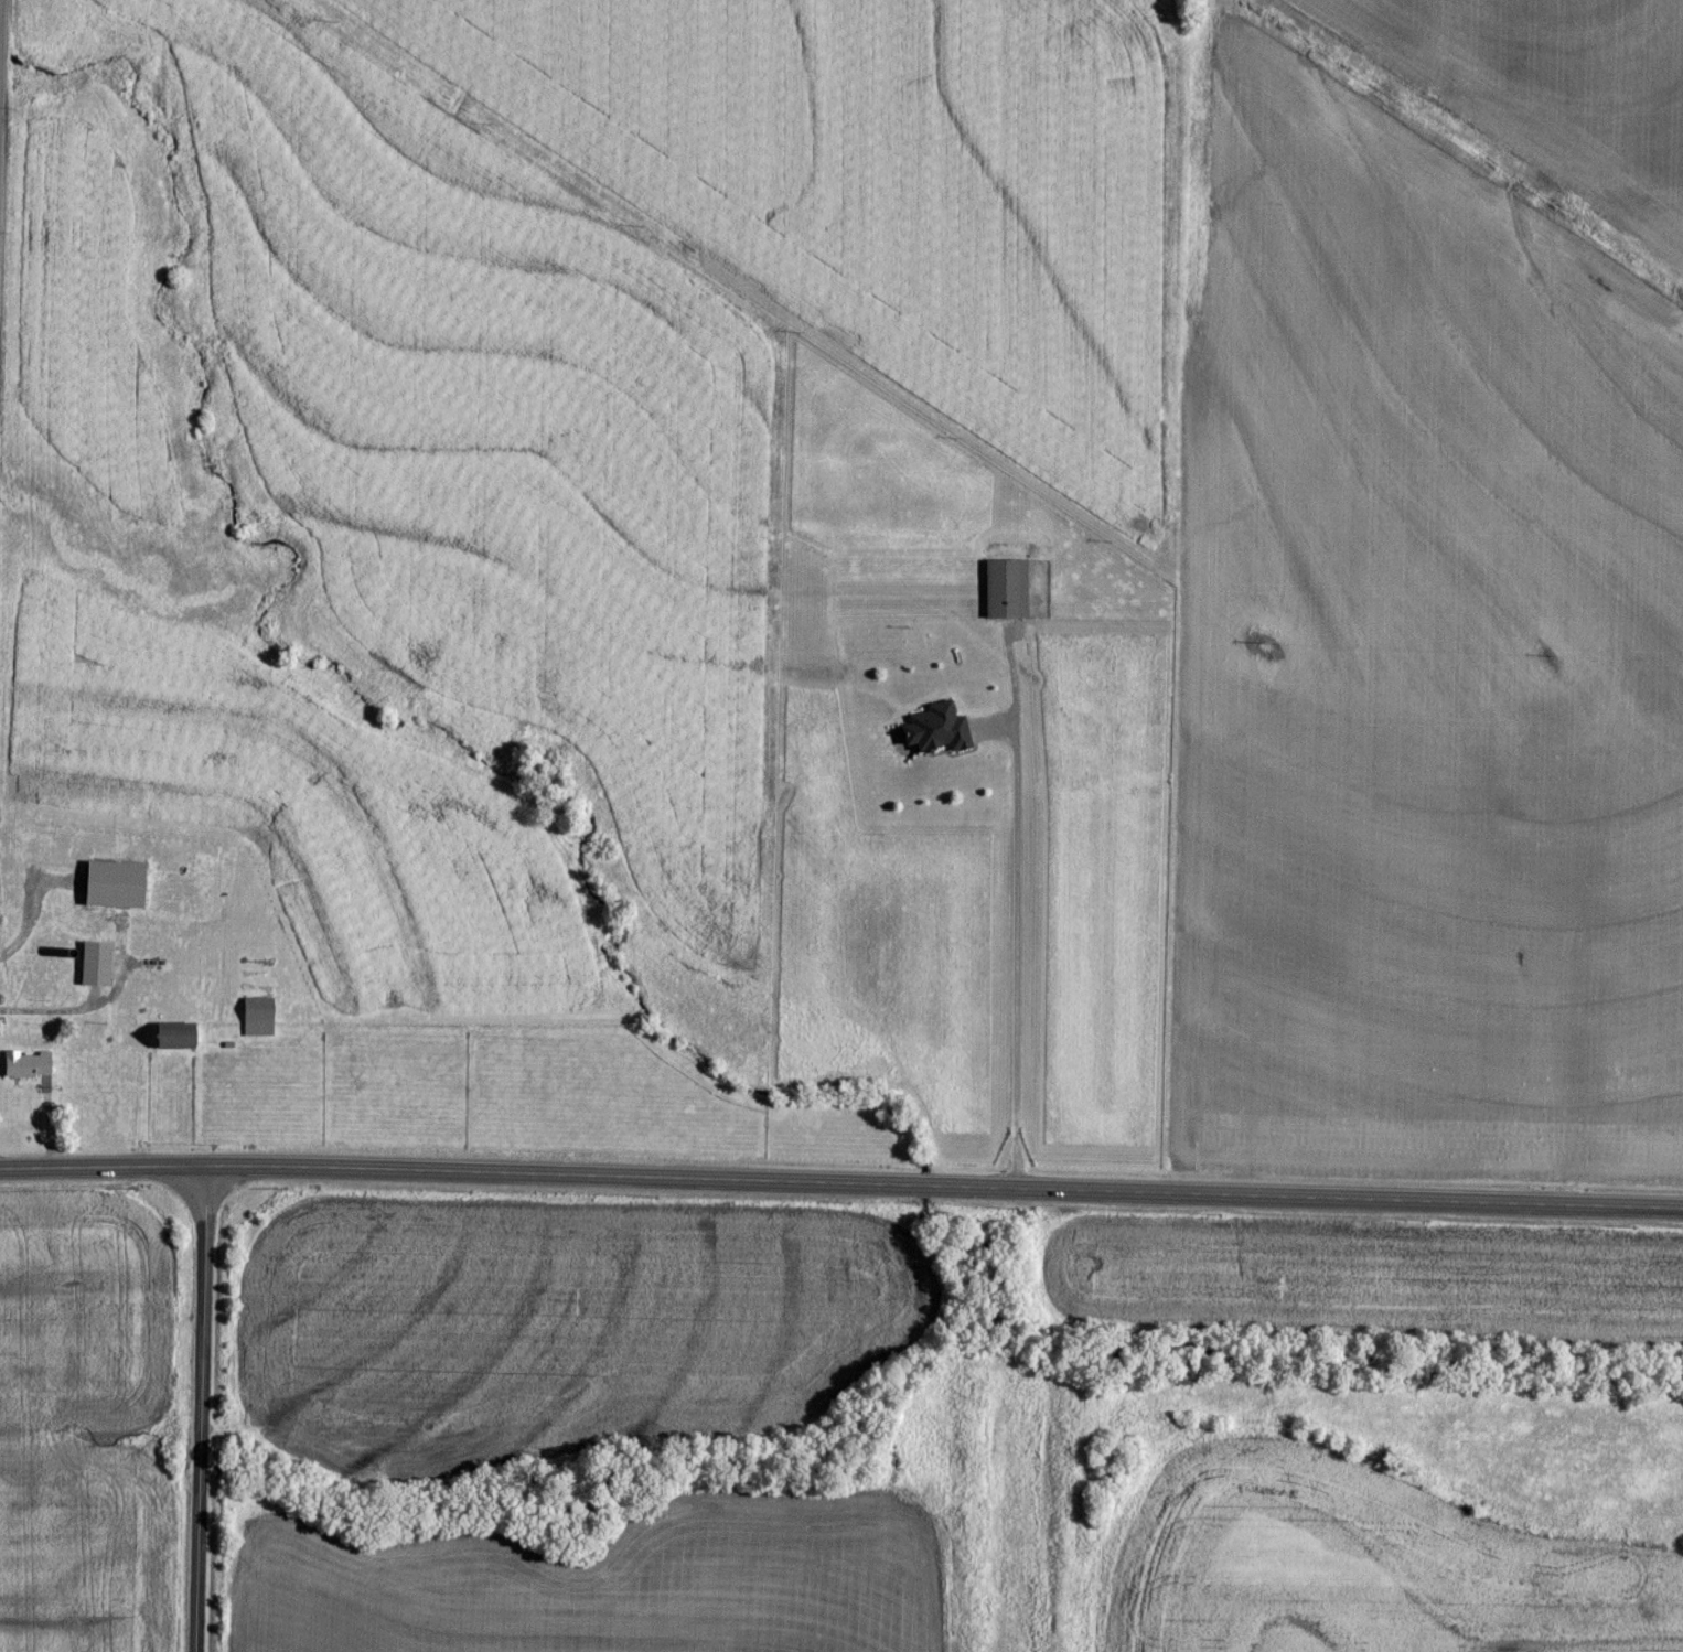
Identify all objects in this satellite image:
crop: (1553, 89)
crop: (875, 187)
crop: (393, 584)
building: (1009, 588)
crop: (1421, 675)
building: (942, 728)
building: (118, 884)
building: (99, 964)
building: (259, 1017)
building: (181, 1036)
building: (30, 1063)
road: (842, 1181)
road: (203, 1409)
crop: (95, 1416)

